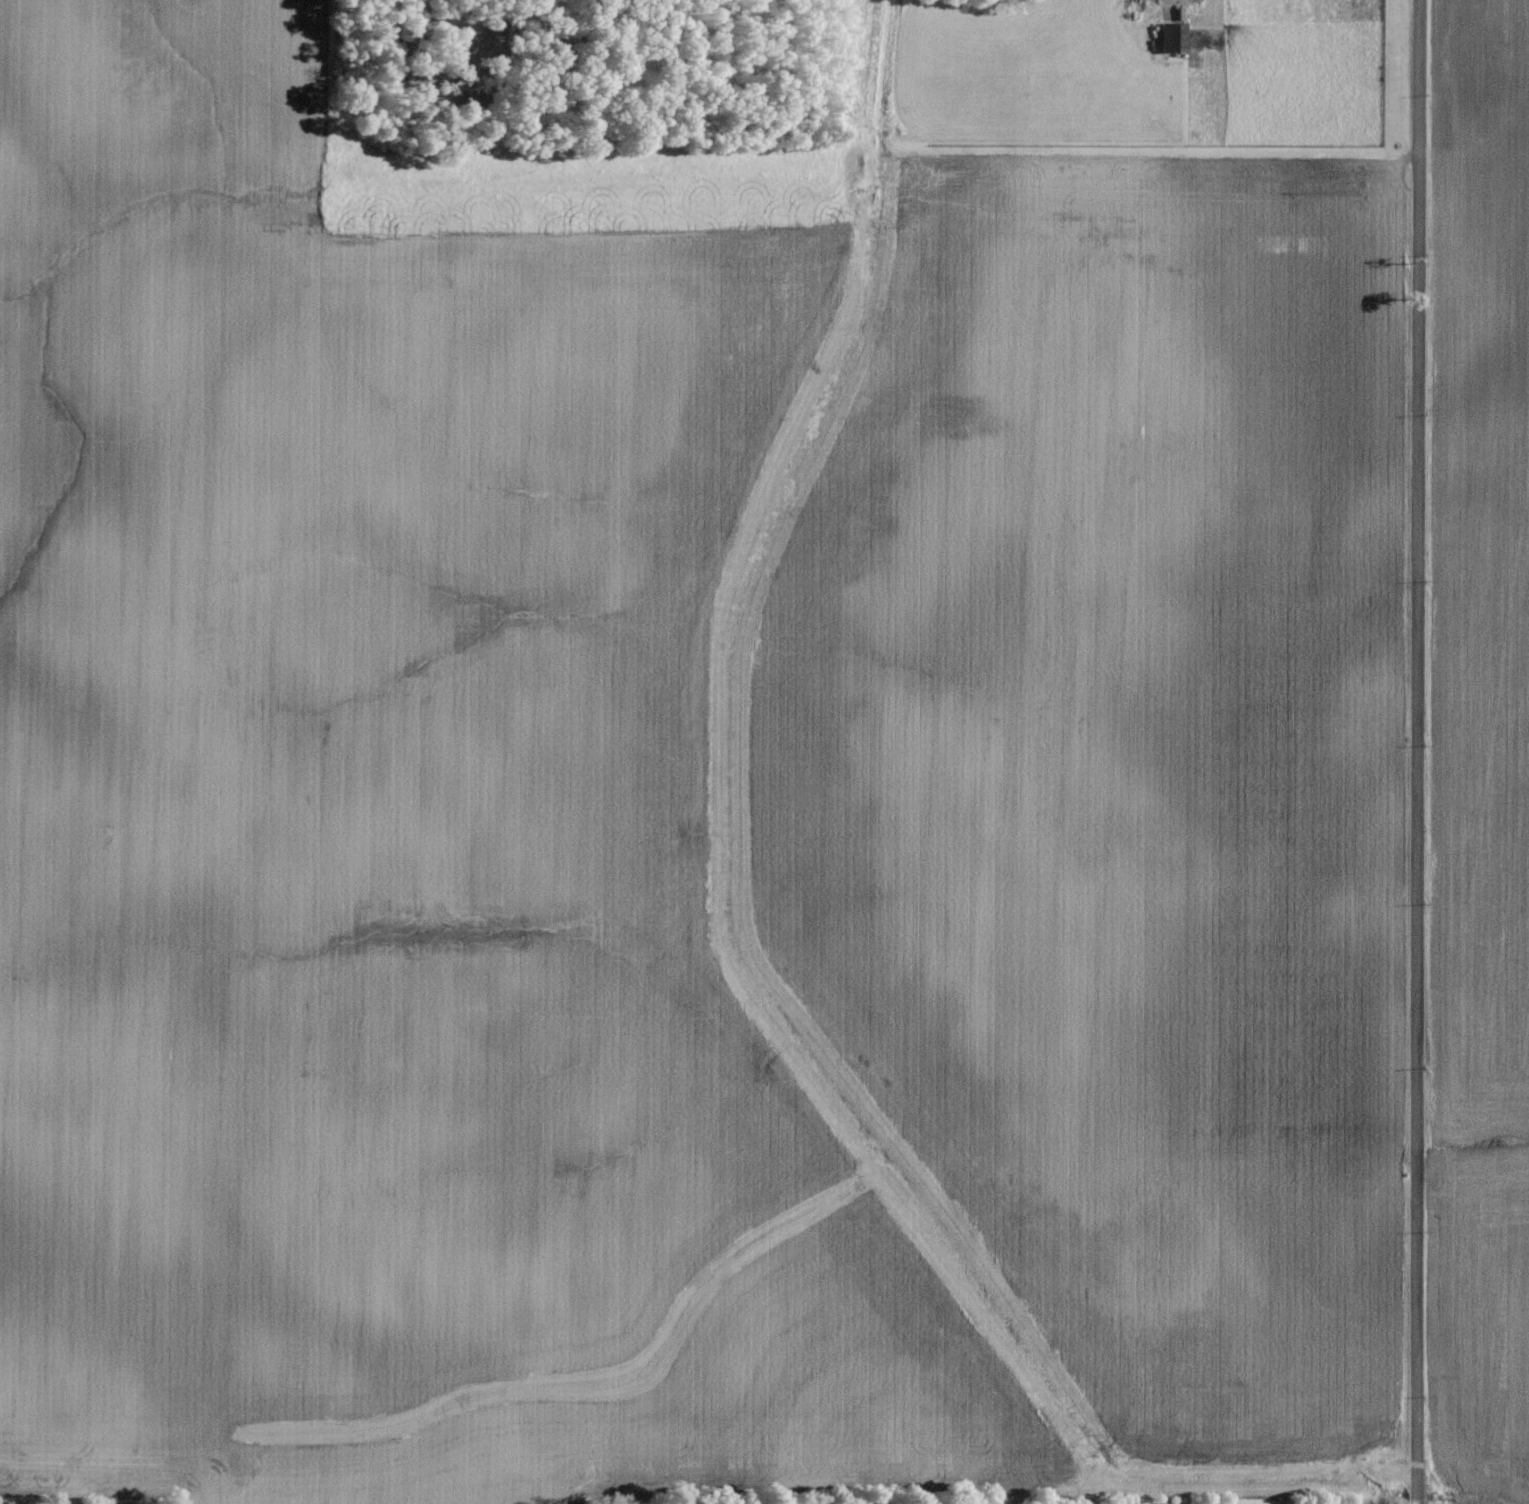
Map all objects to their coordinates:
building: (1167, 37)
crop: (1476, 573)
road: (1417, 752)
crop: (1476, 1323)

